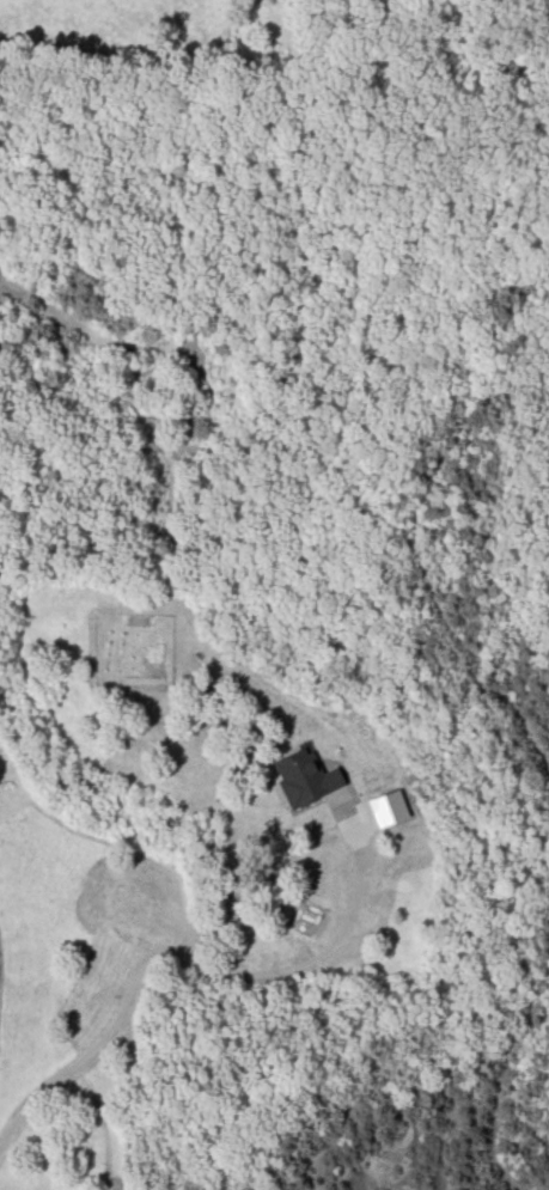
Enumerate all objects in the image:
building: (304, 779)
building: (386, 808)
road: (178, 957)

